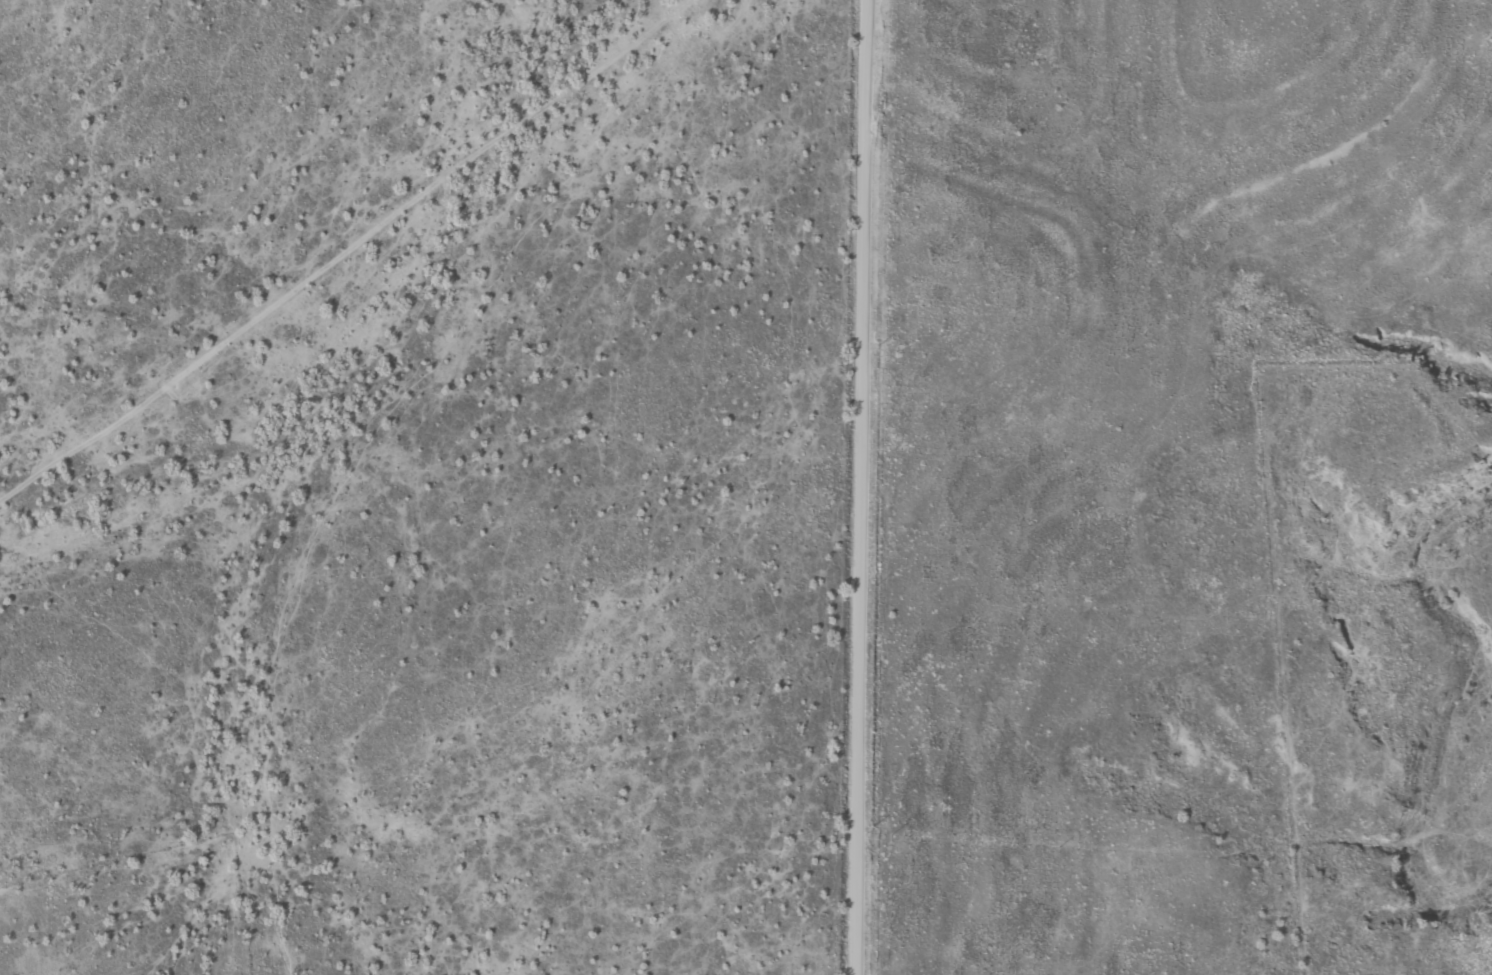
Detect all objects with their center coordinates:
road: (897, 487)

